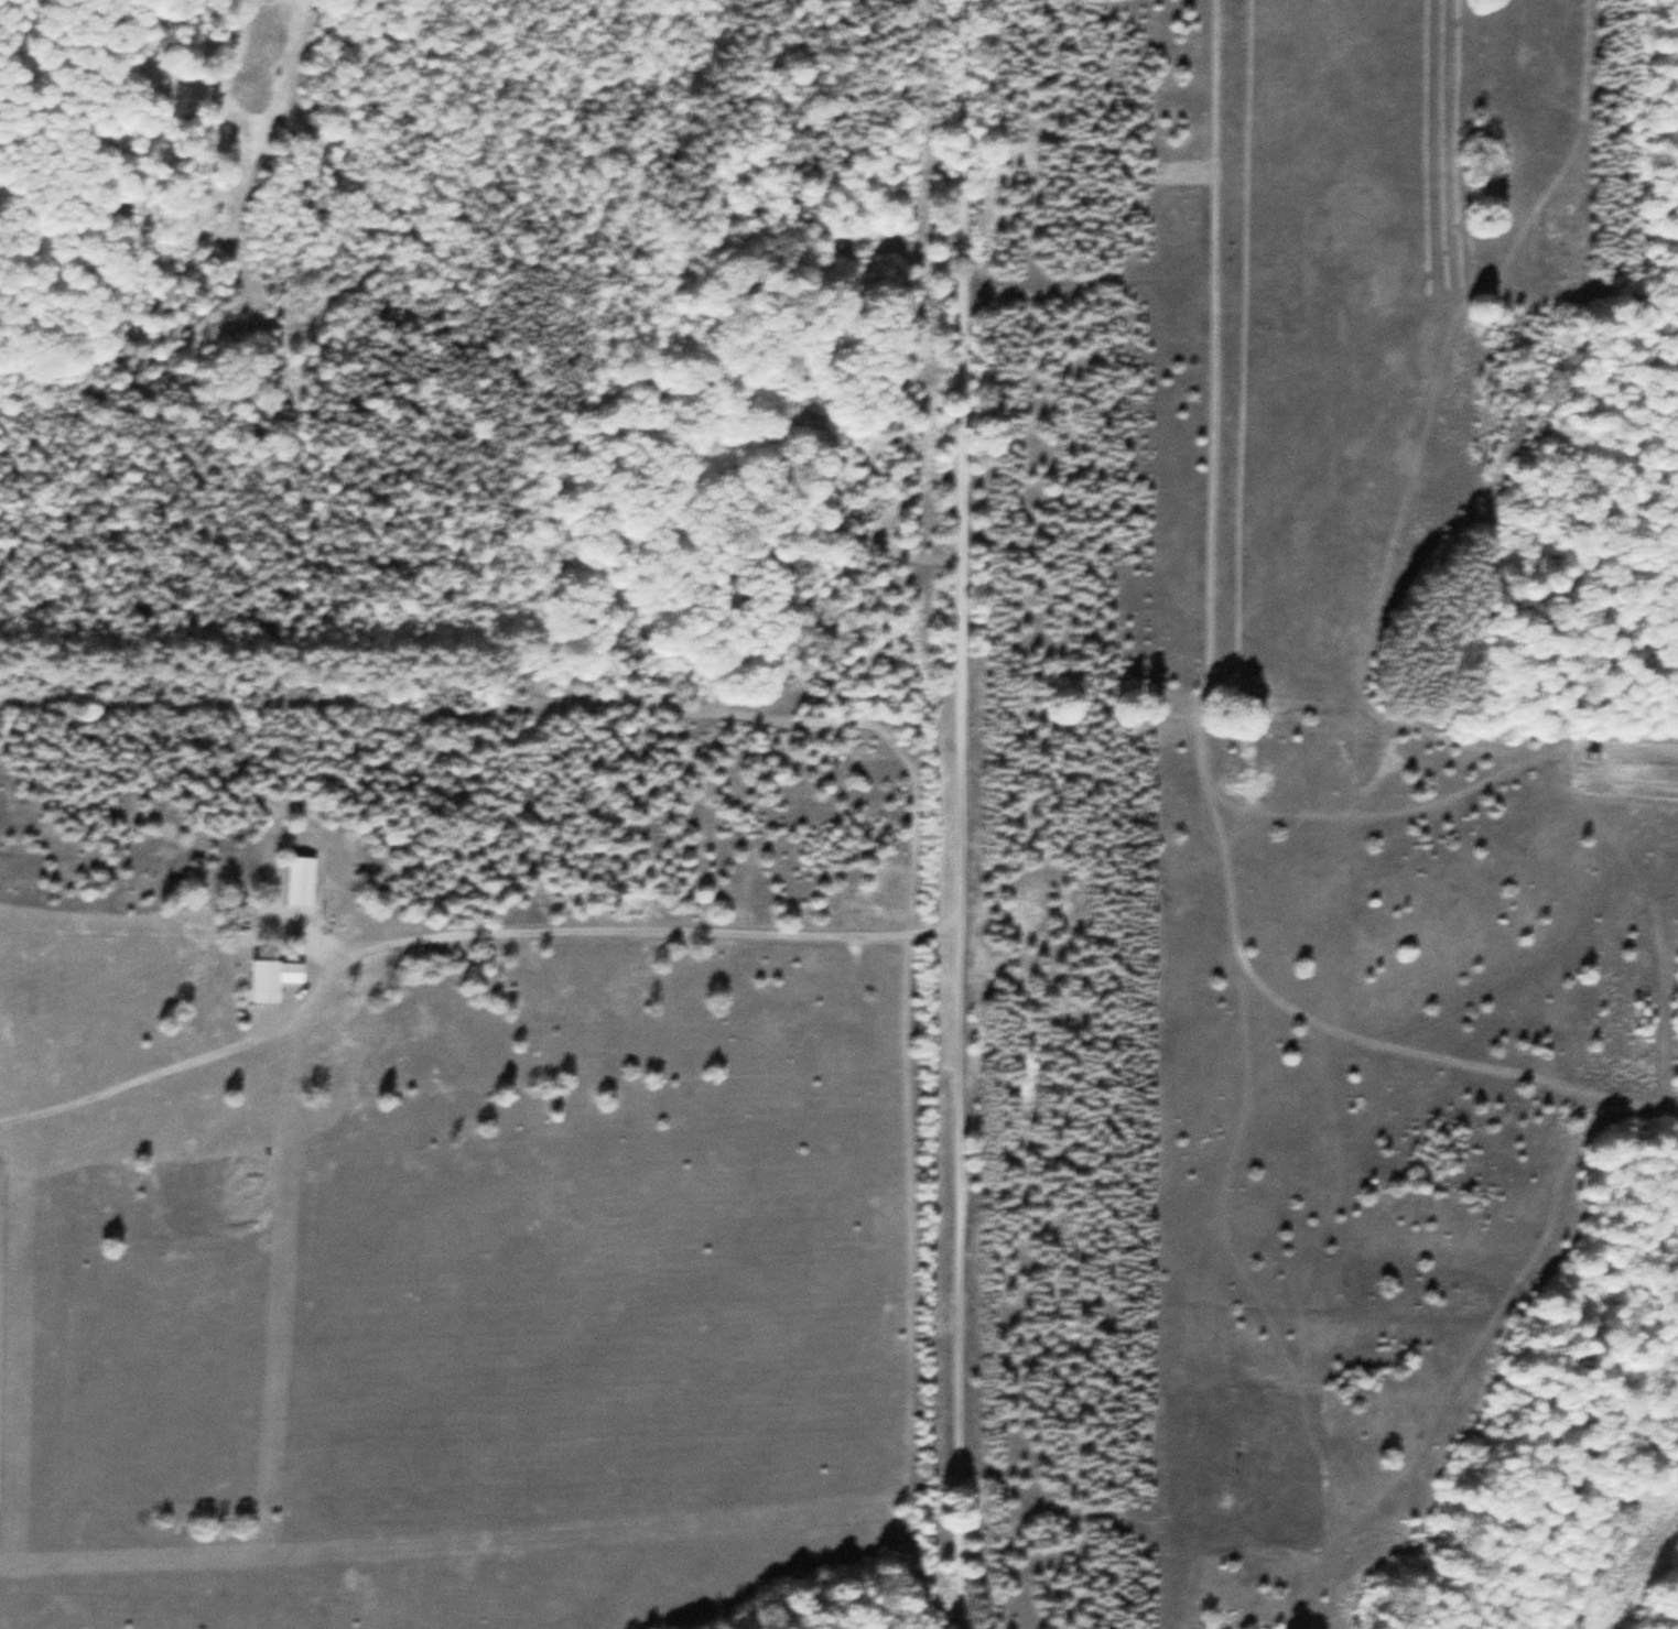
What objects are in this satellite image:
road: (960, 814)
building: (300, 881)
road: (594, 926)
road: (314, 935)
building: (272, 979)
road: (263, 1023)
road: (132, 1082)

